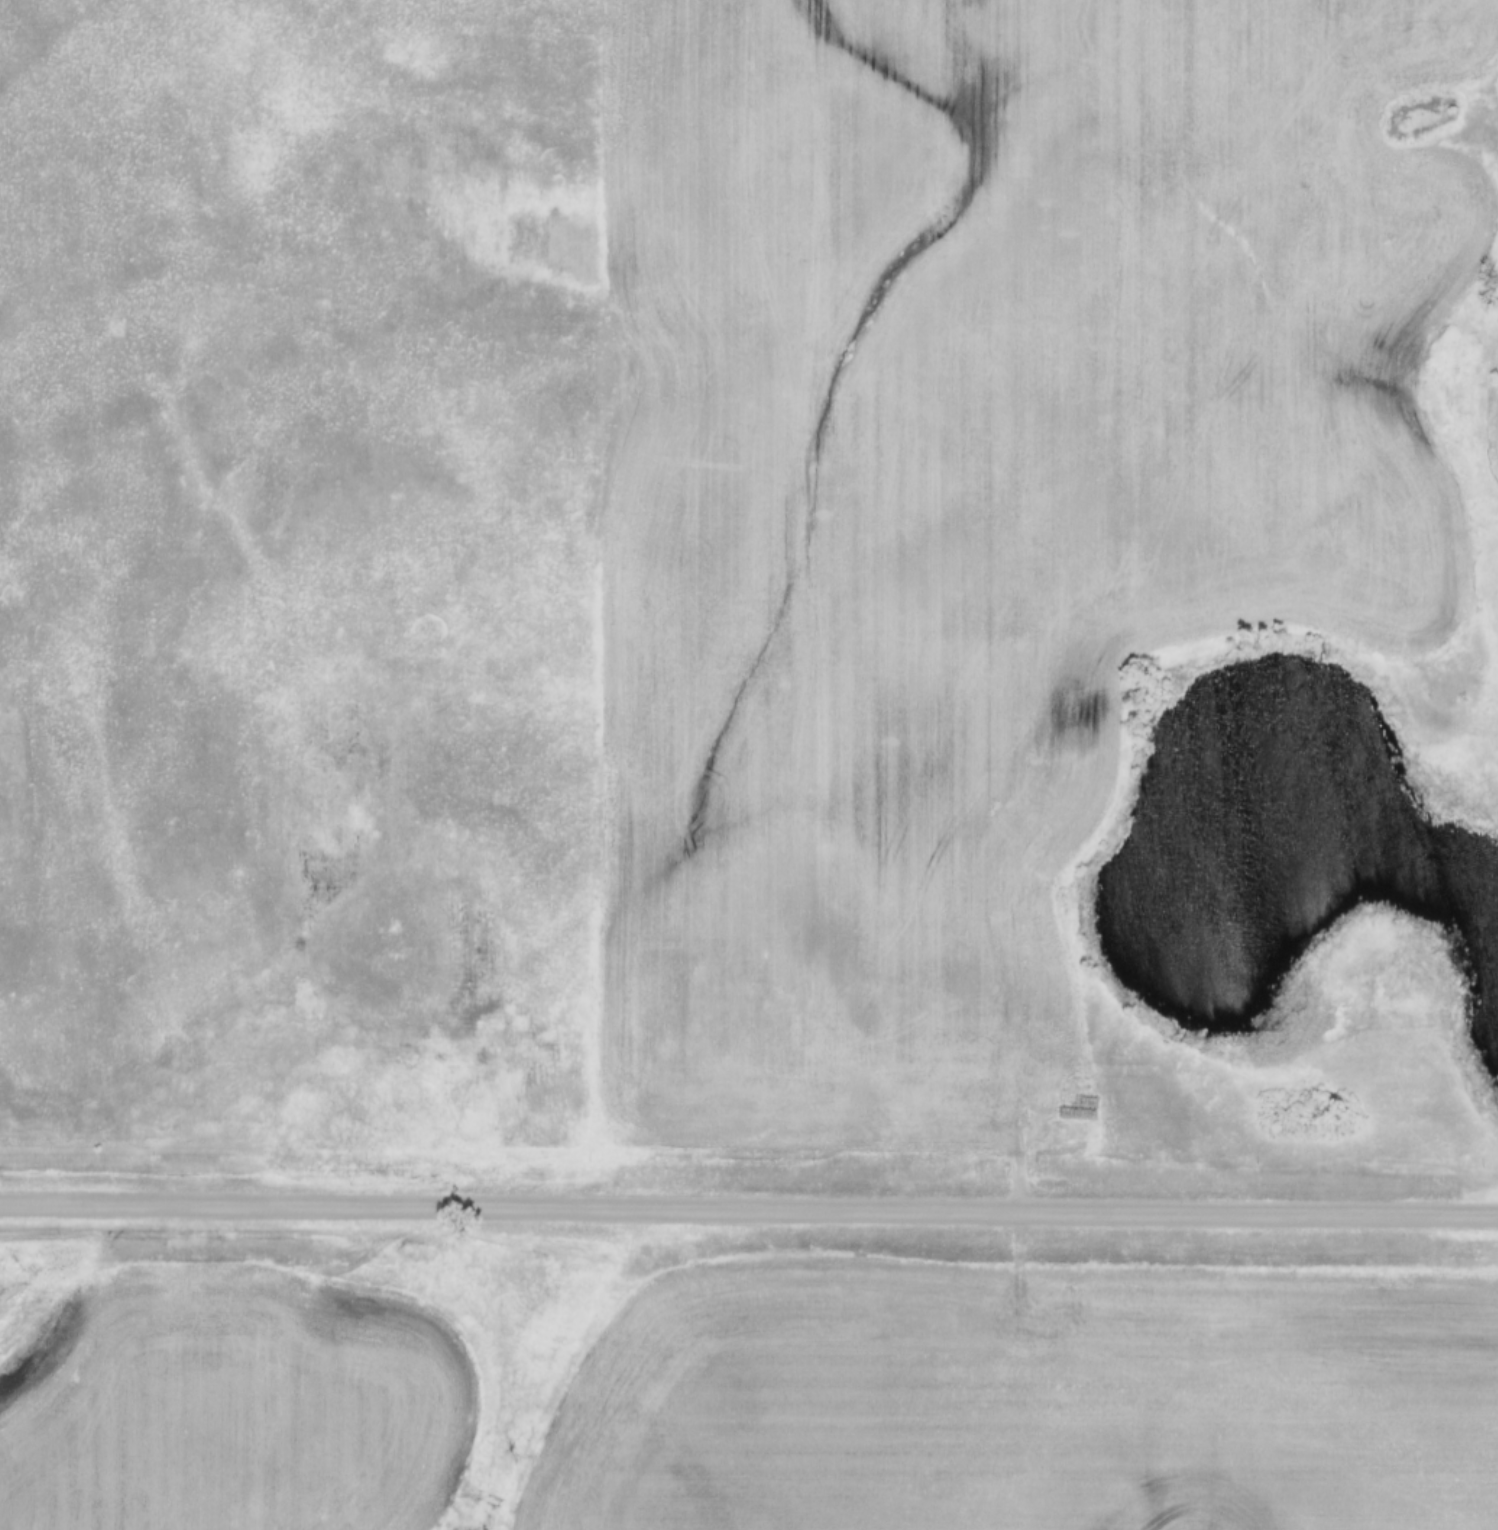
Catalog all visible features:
road: (749, 1217)

